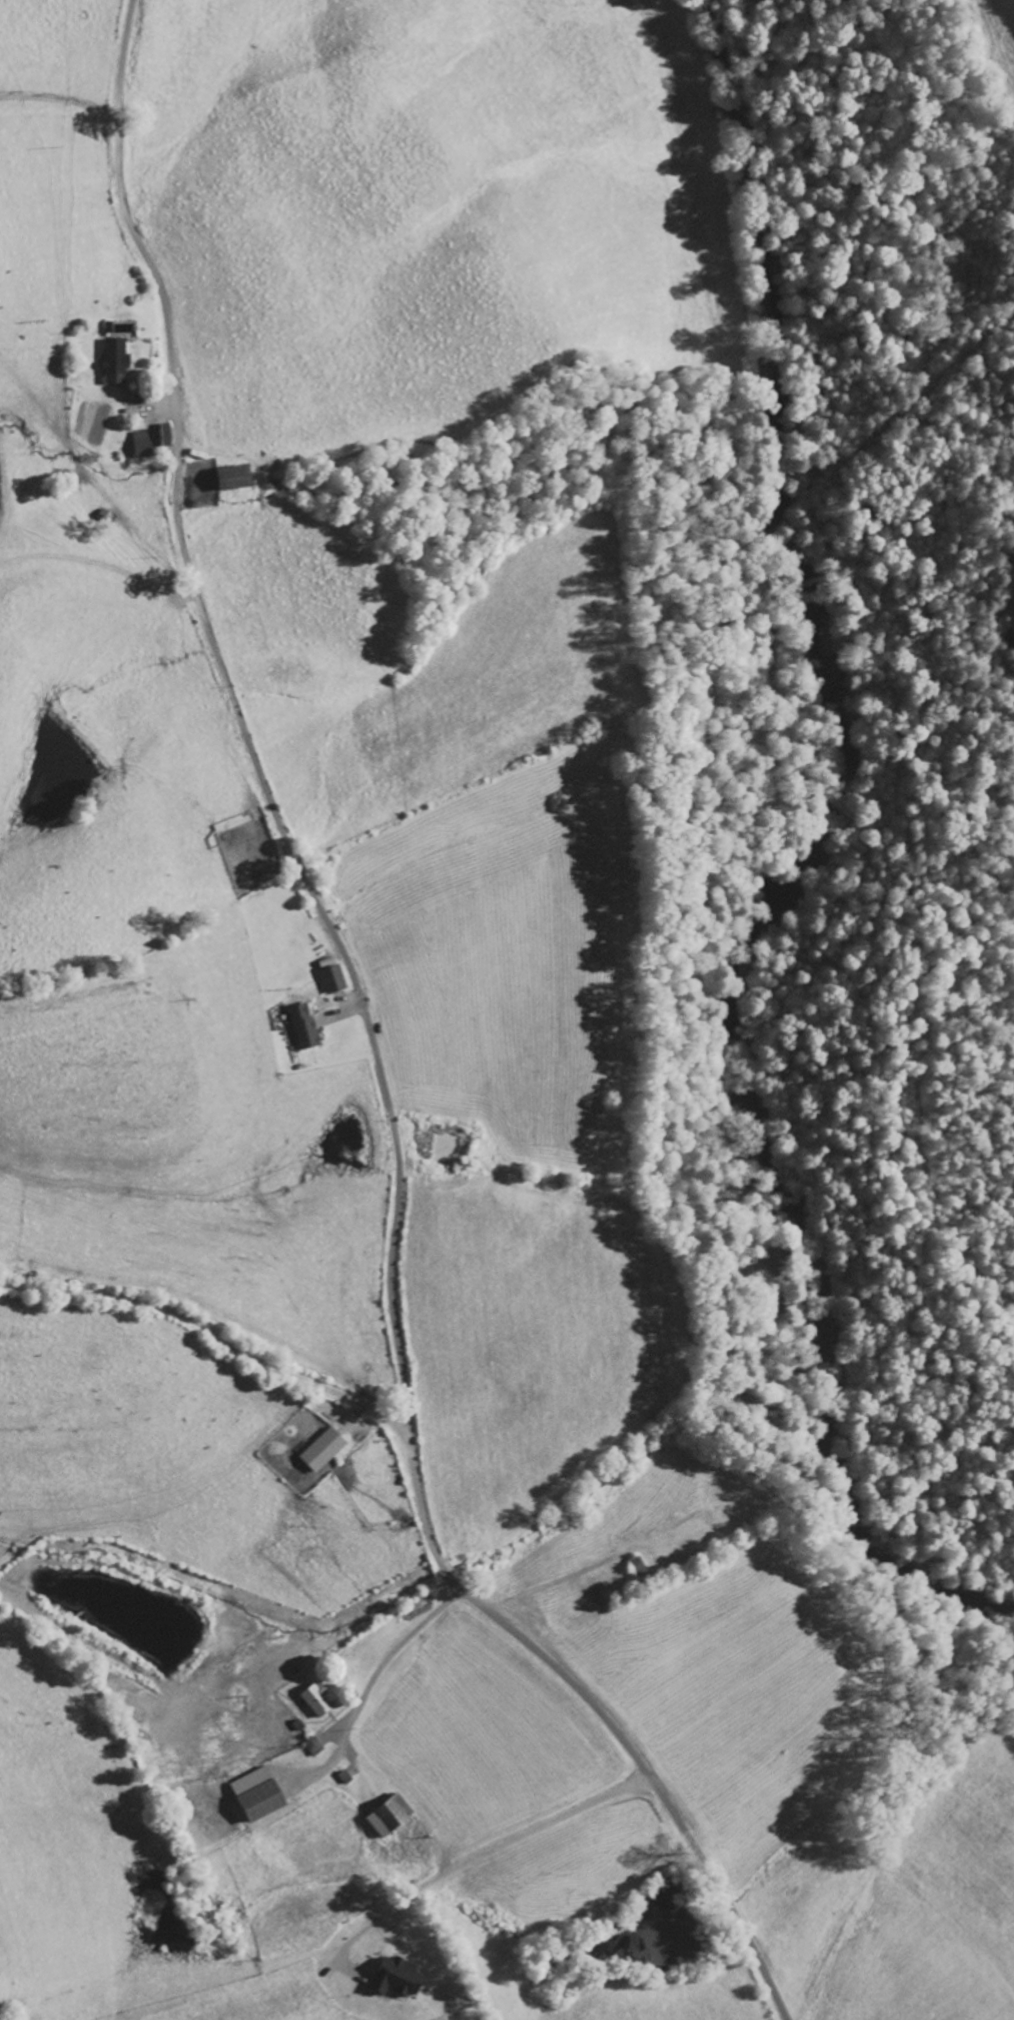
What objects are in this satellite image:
building: (112, 360)
building: (139, 425)
building: (148, 440)
building: (229, 478)
building: (331, 978)
building: (303, 1032)
road: (376, 1051)
road: (210, 1331)
building: (320, 1449)
building: (635, 1567)
building: (313, 1699)
building: (310, 1745)
building: (253, 1794)
building: (385, 1814)
building: (393, 1977)

